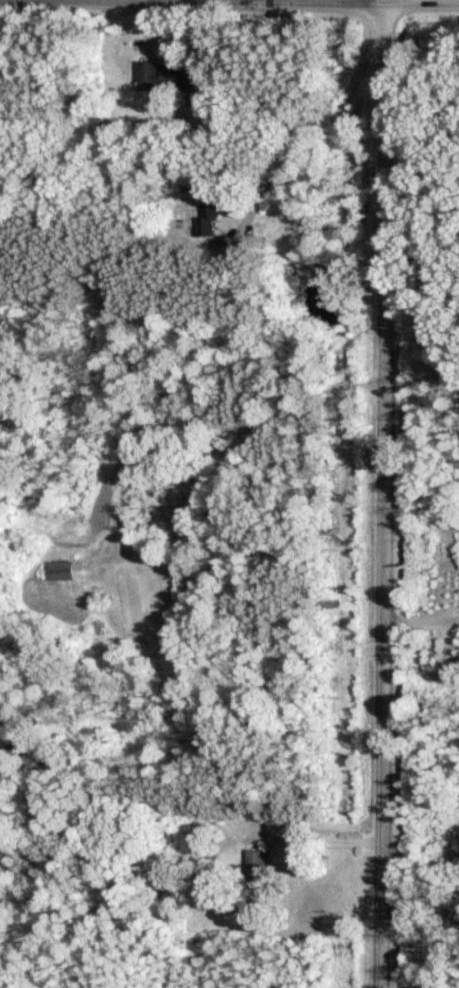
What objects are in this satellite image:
road: (264, 2)
building: (169, 78)
road: (326, 128)
building: (208, 220)
road: (388, 493)
building: (63, 572)
road: (423, 622)
road: (327, 843)
building: (257, 870)

